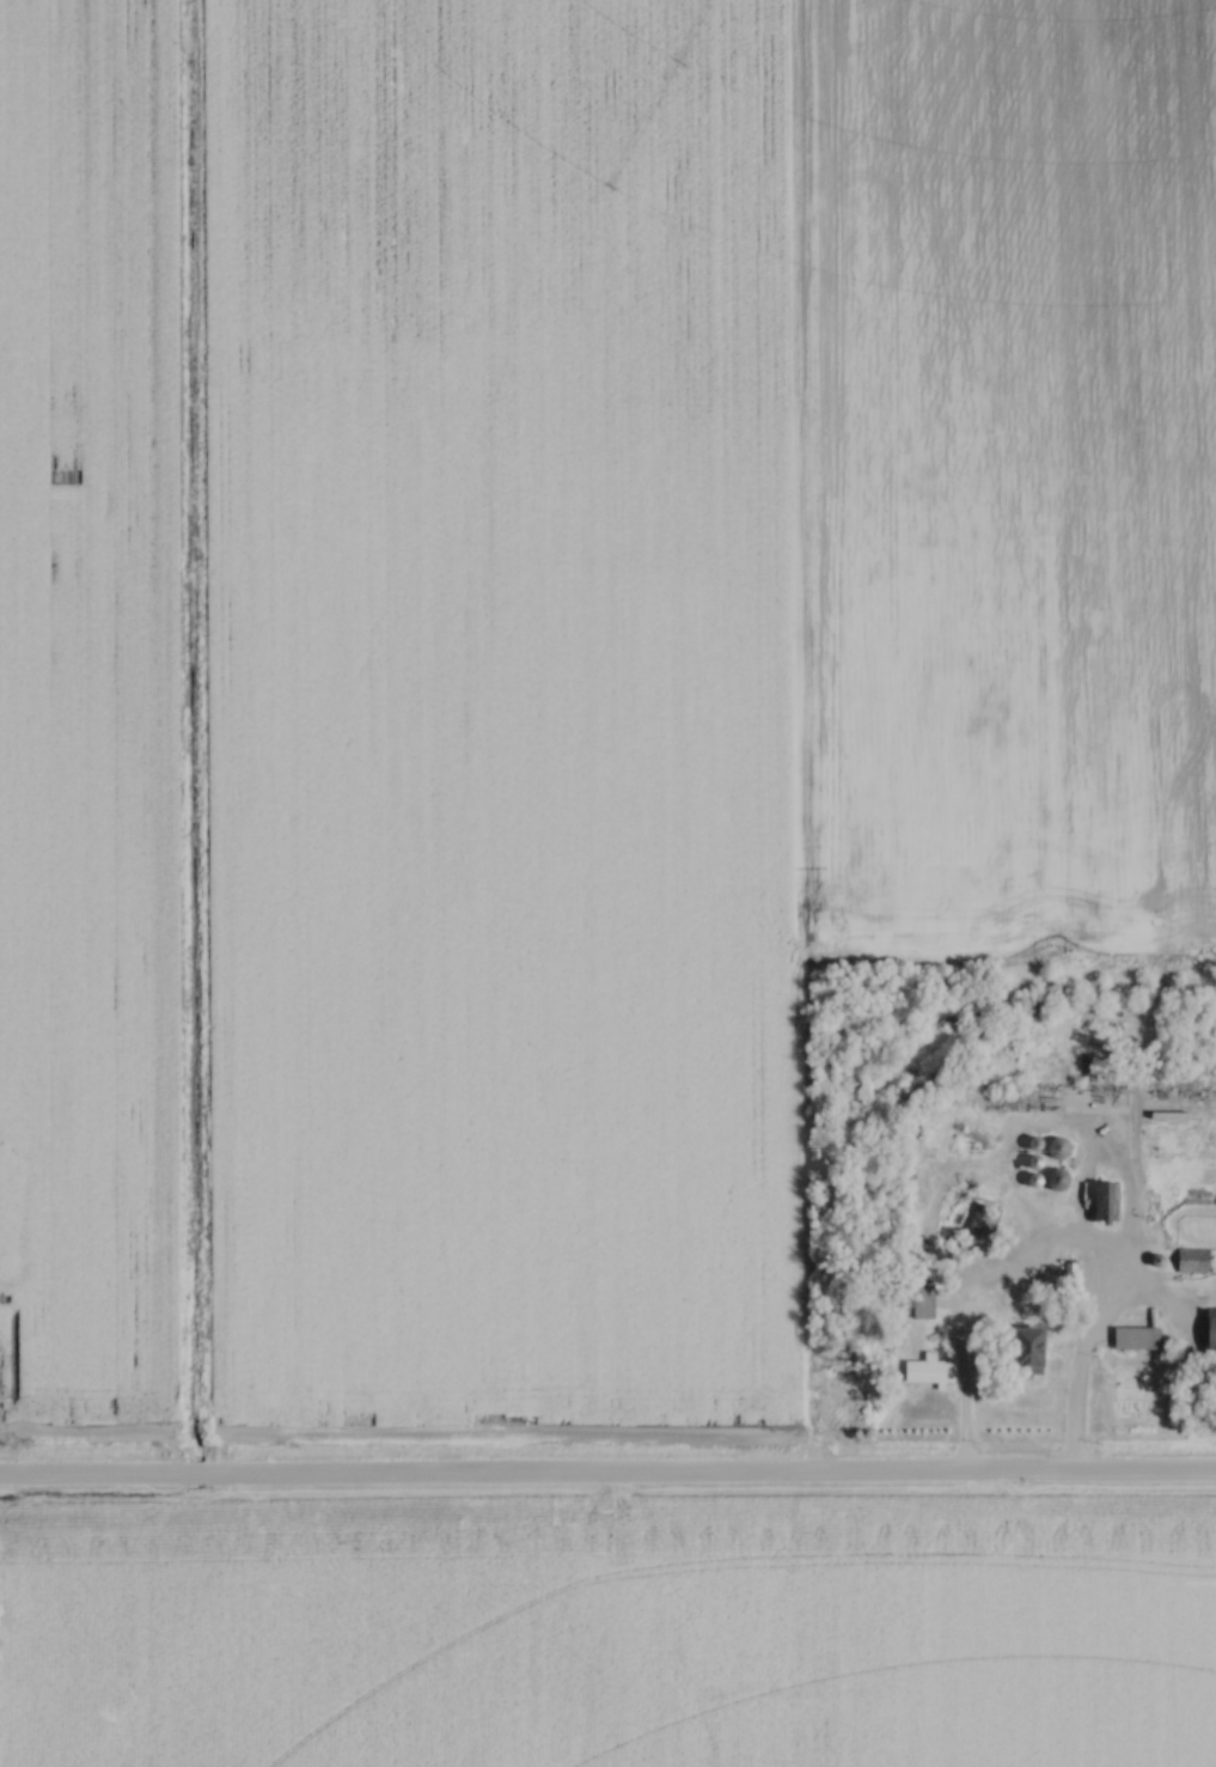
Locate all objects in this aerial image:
building: (1051, 1148)
building: (1050, 1180)
building: (1101, 1202)
building: (1190, 1260)
building: (917, 1303)
road: (1094, 1312)
building: (1206, 1334)
building: (1132, 1339)
building: (1016, 1351)
building: (923, 1370)
road: (607, 1479)

